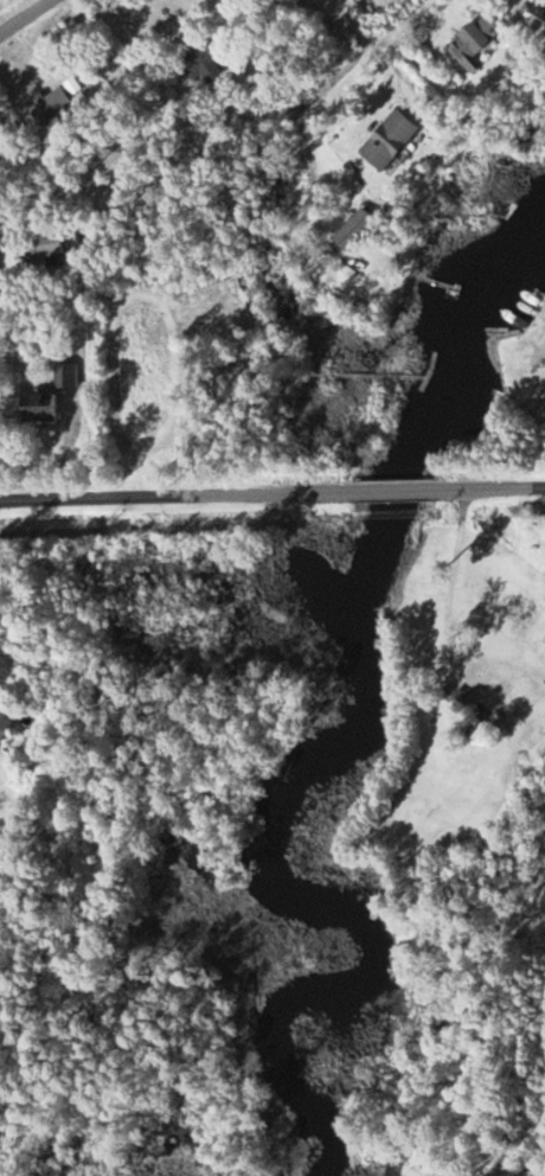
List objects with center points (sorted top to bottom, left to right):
road: (25, 17)
road: (340, 21)
building: (472, 43)
road: (353, 56)
building: (201, 64)
building: (50, 107)
building: (386, 141)
building: (40, 244)
road: (113, 294)
building: (64, 376)
building: (37, 407)
road: (271, 492)
building: (468, 704)
building: (5, 722)

